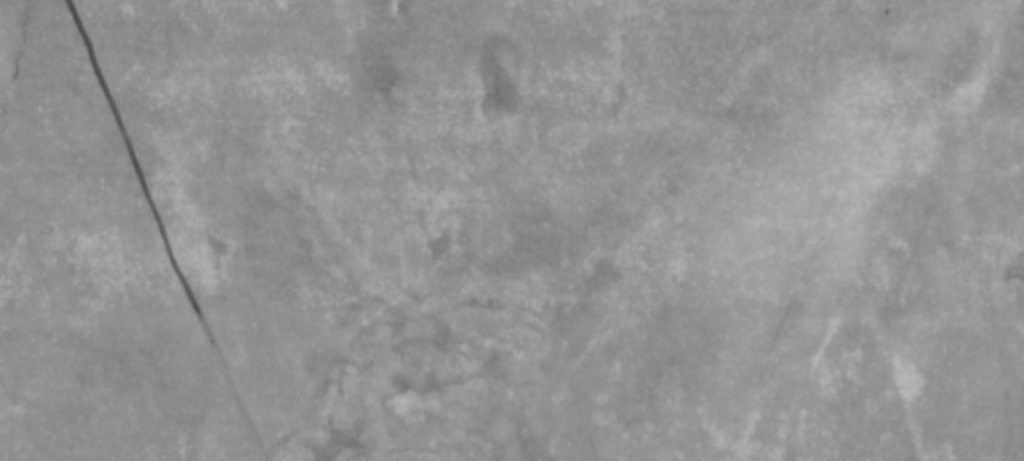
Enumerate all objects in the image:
road: (598, 215)

